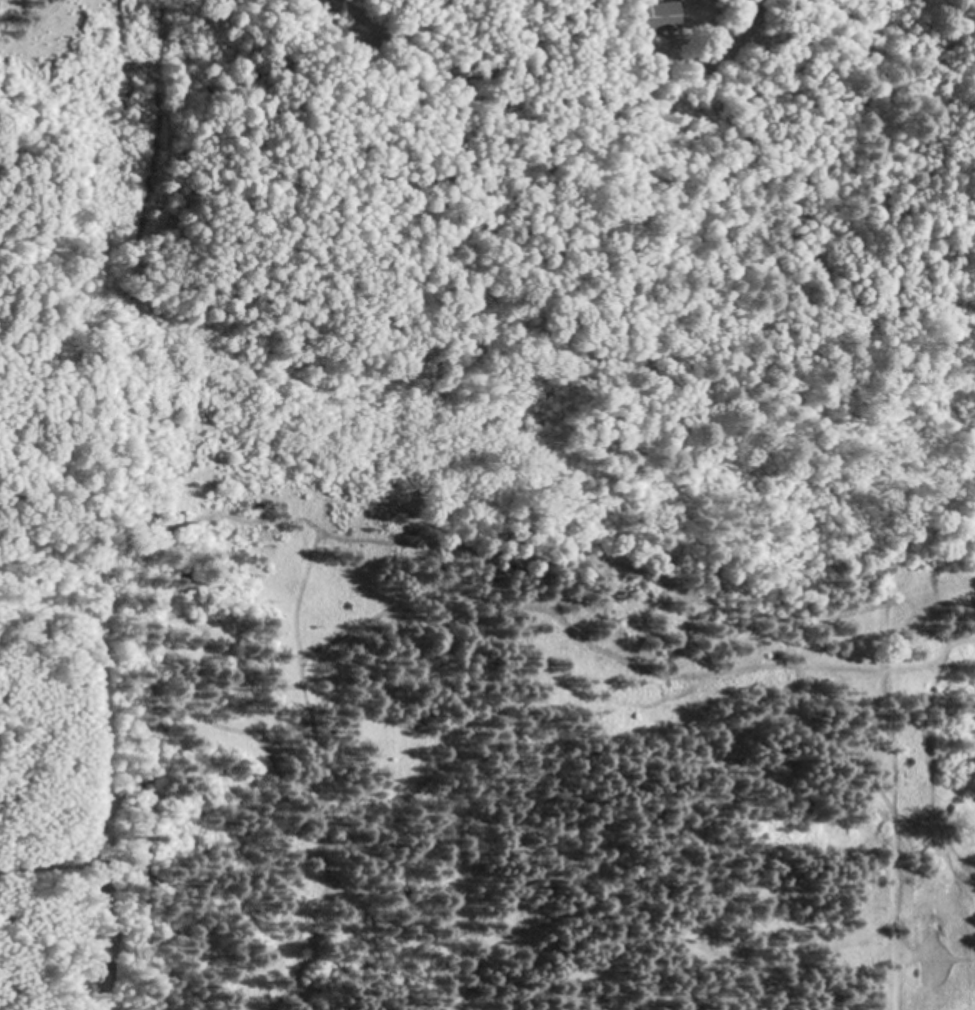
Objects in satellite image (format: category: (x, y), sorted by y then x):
building: (662, 17)

